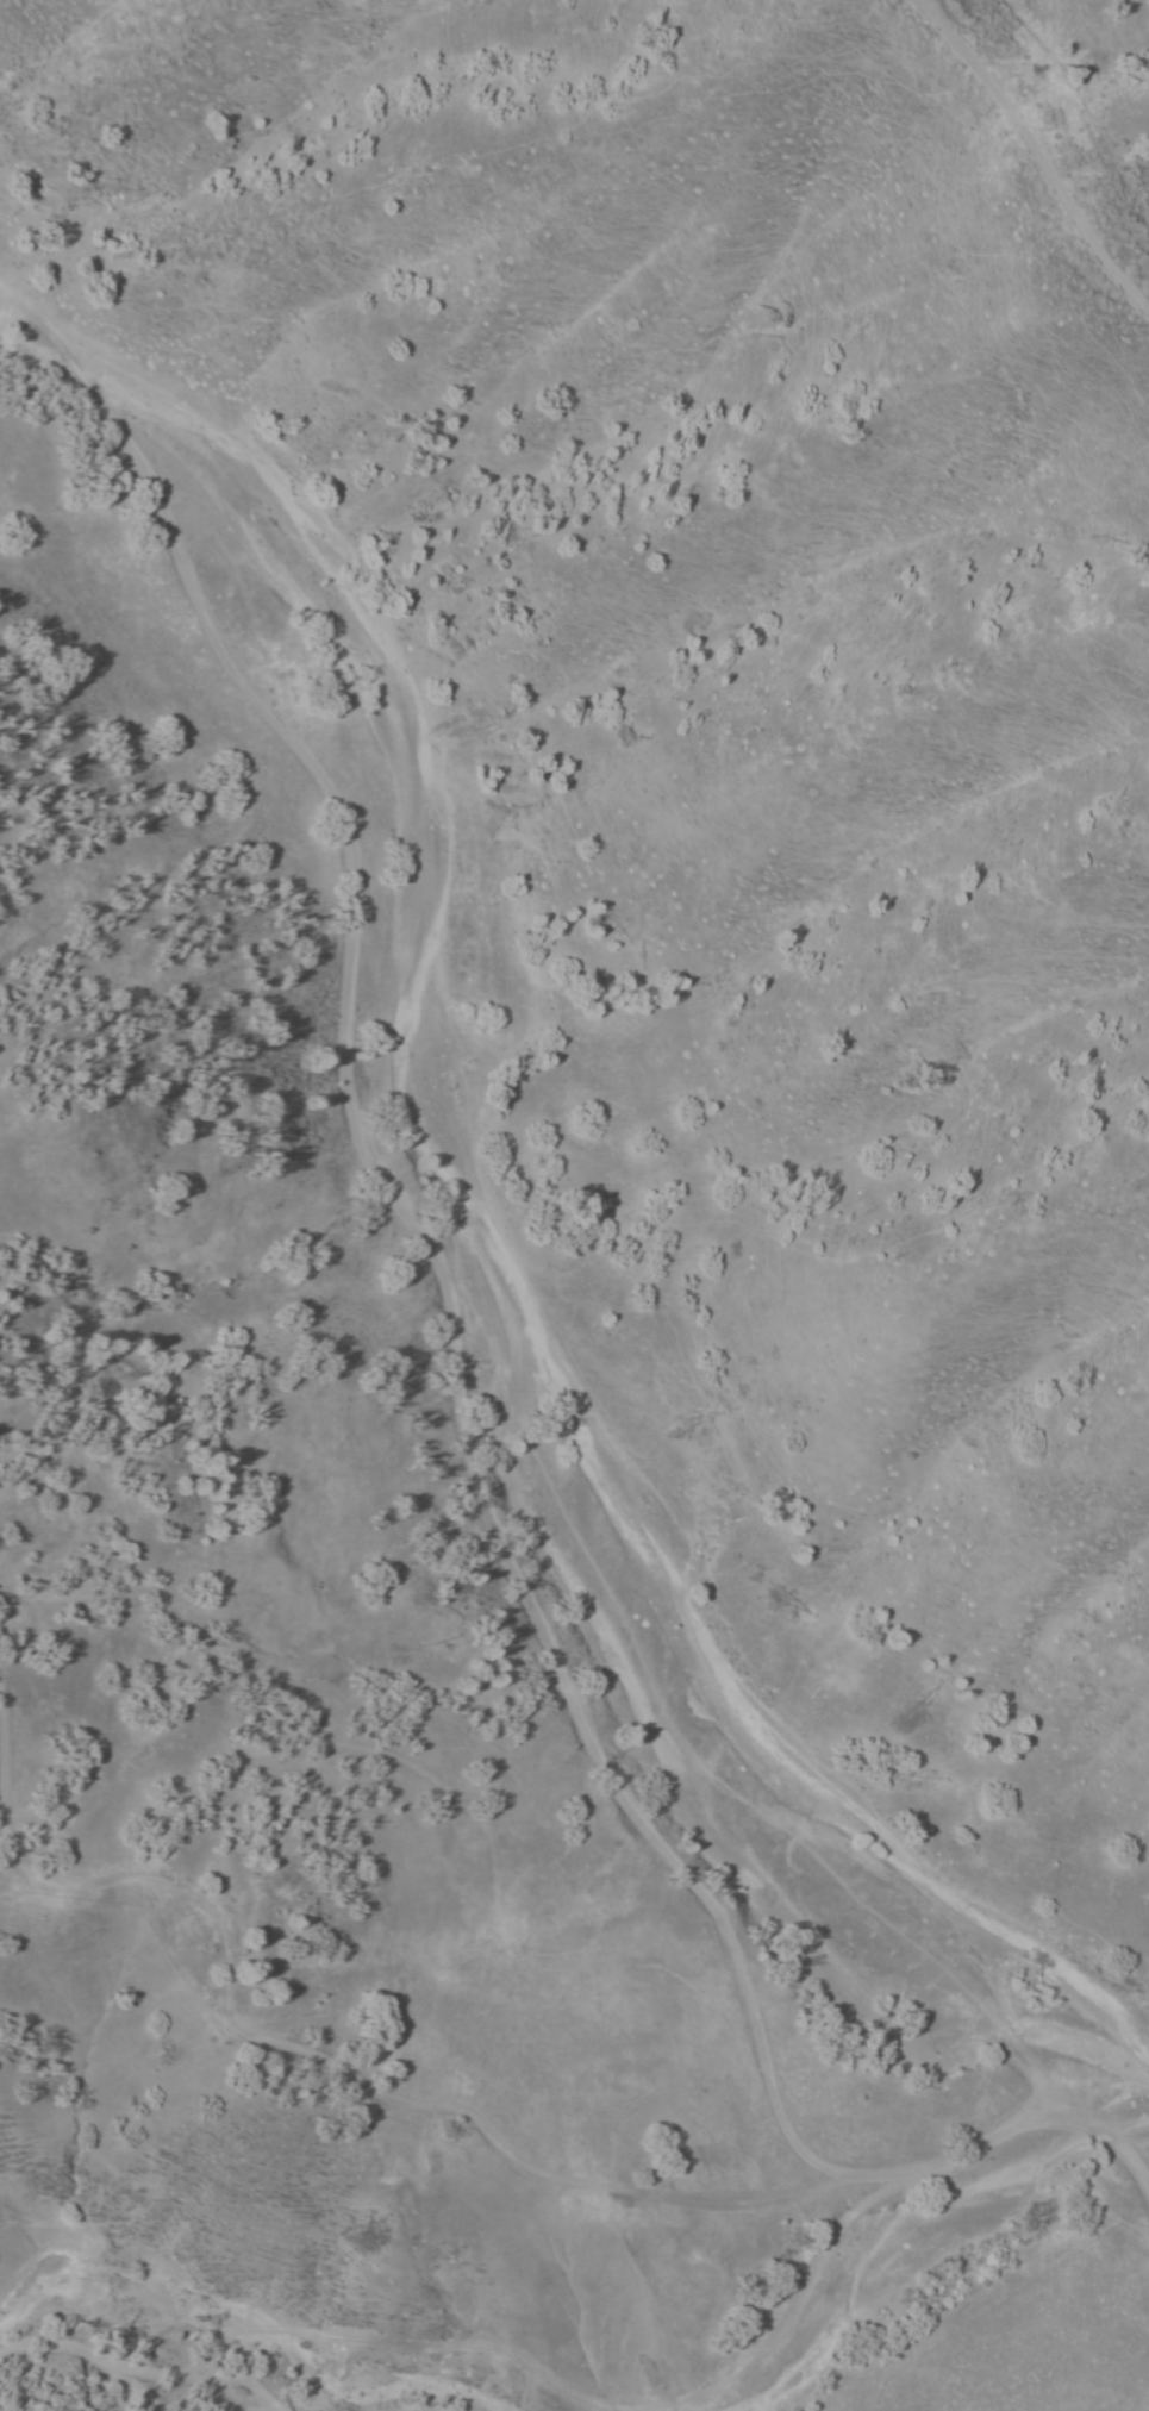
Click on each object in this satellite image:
road: (419, 1274)
road: (356, 2091)
road: (1042, 2128)
road: (501, 2367)
road: (146, 2390)

